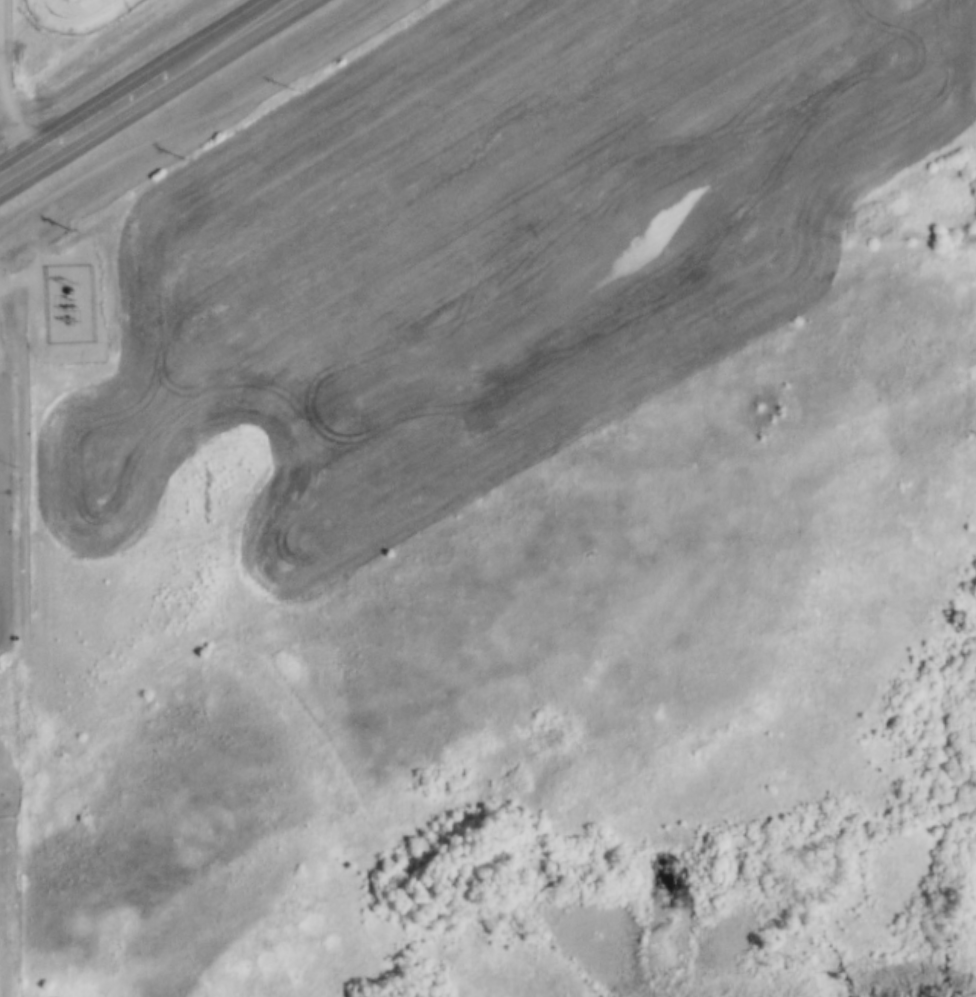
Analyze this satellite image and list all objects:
road: (227, 36)
road: (5, 79)
road: (84, 124)
power substation: (70, 298)

